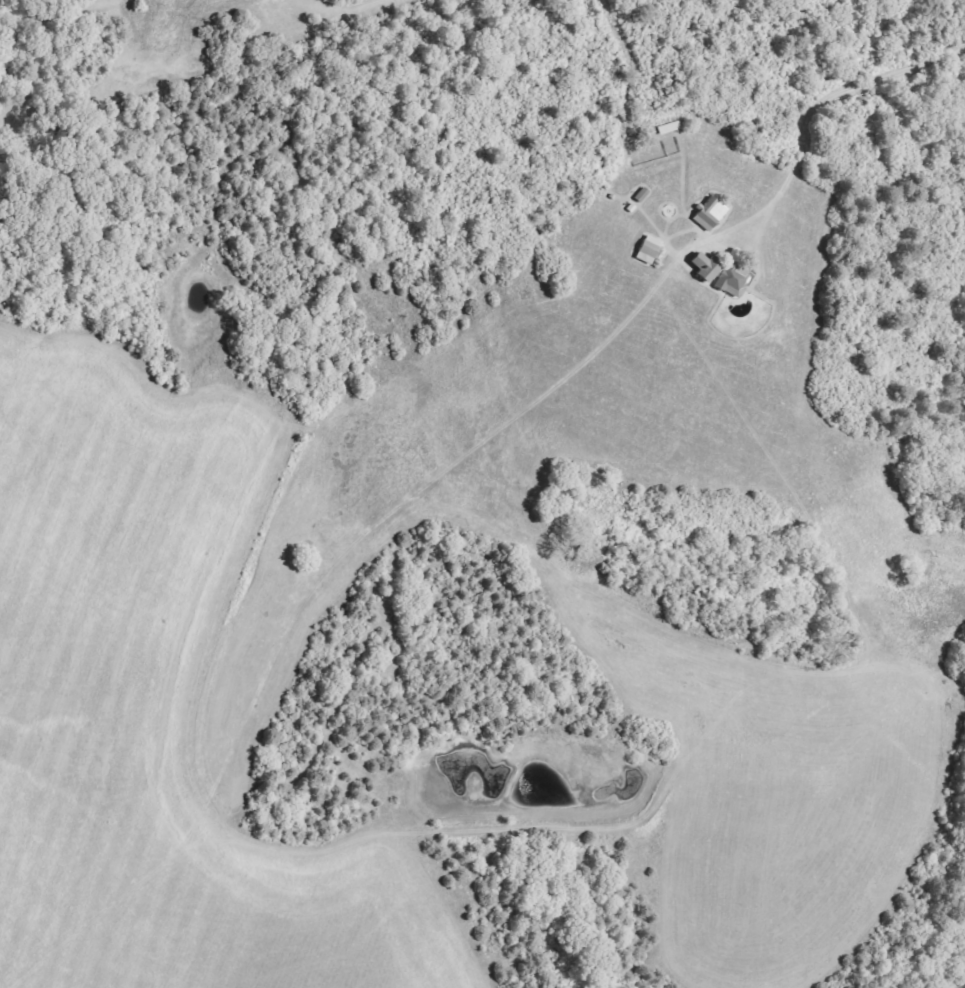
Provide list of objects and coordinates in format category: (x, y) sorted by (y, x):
road: (808, 112)
building: (671, 130)
building: (712, 216)
building: (651, 252)
building: (724, 277)

